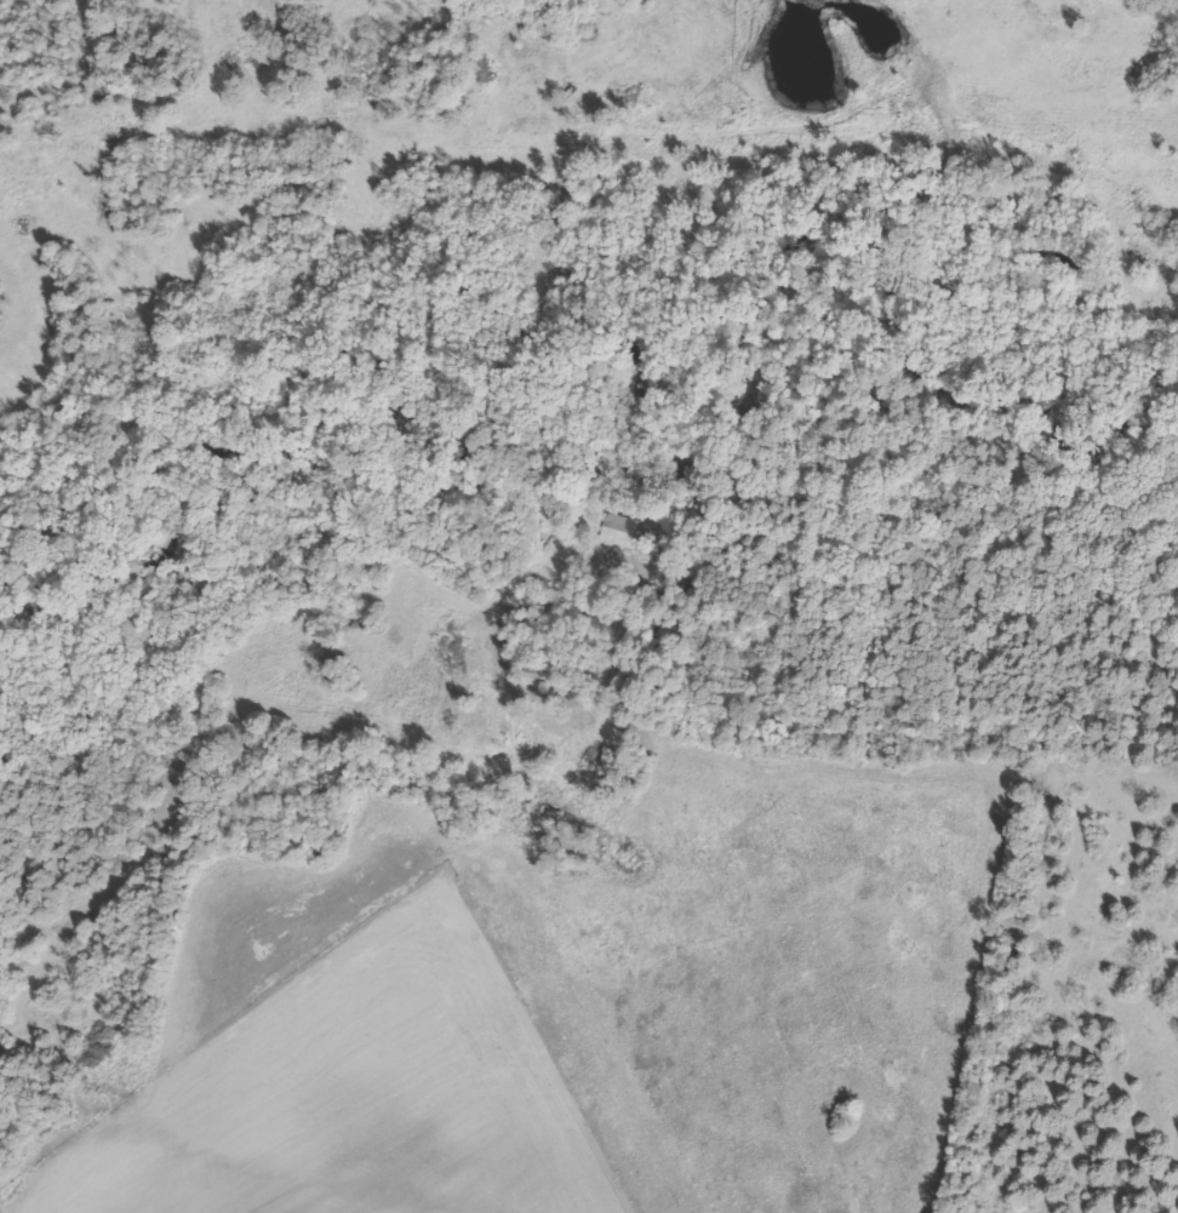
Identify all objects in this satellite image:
building: (611, 543)
building: (520, 807)

